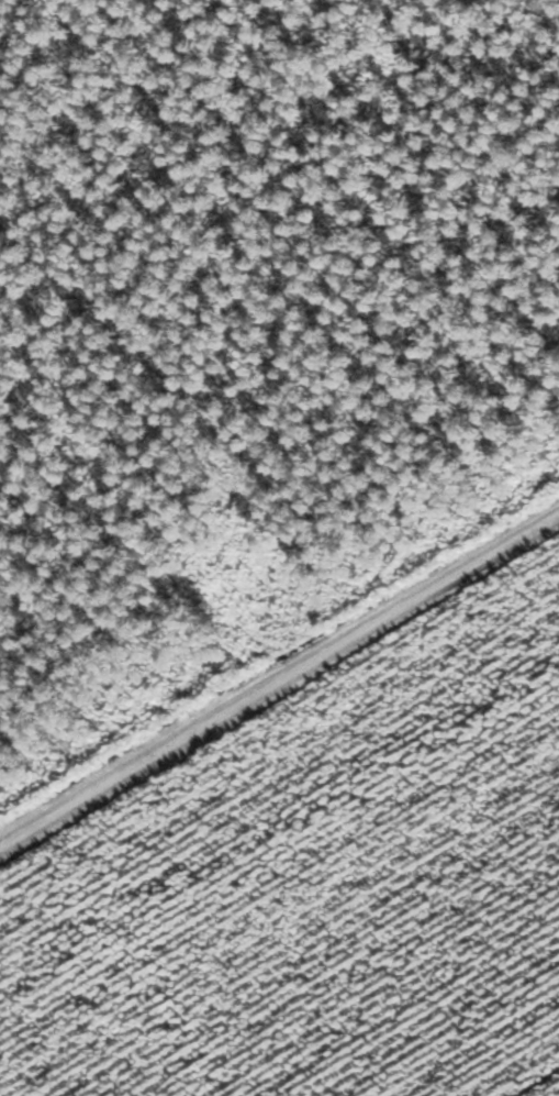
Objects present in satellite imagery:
road: (279, 683)

